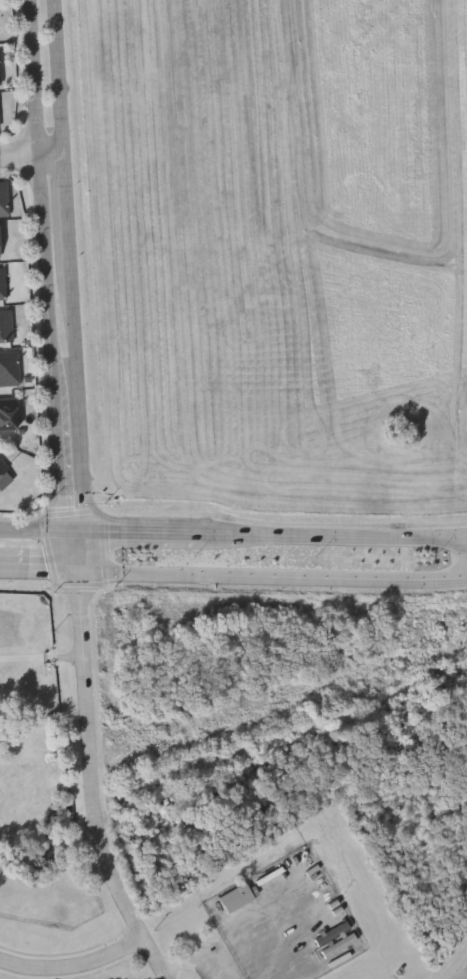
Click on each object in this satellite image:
building: (0, 74)
road: (59, 76)
building: (0, 122)
road: (31, 153)
building: (4, 200)
road: (67, 205)
building: (0, 247)
road: (46, 265)
building: (3, 284)
building: (6, 327)
building: (9, 369)
road: (79, 394)
building: (8, 414)
building: (3, 467)
road: (31, 529)
traffic signals: (63, 530)
road: (76, 530)
traffic signals: (89, 530)
road: (145, 532)
road: (333, 540)
road: (73, 552)
road: (86, 552)
road: (42, 573)
traffic signals: (84, 575)
road: (275, 579)
road: (43, 658)
road: (93, 784)
building: (238, 899)
road: (265, 928)
building: (347, 942)
road: (199, 959)
road: (74, 967)

